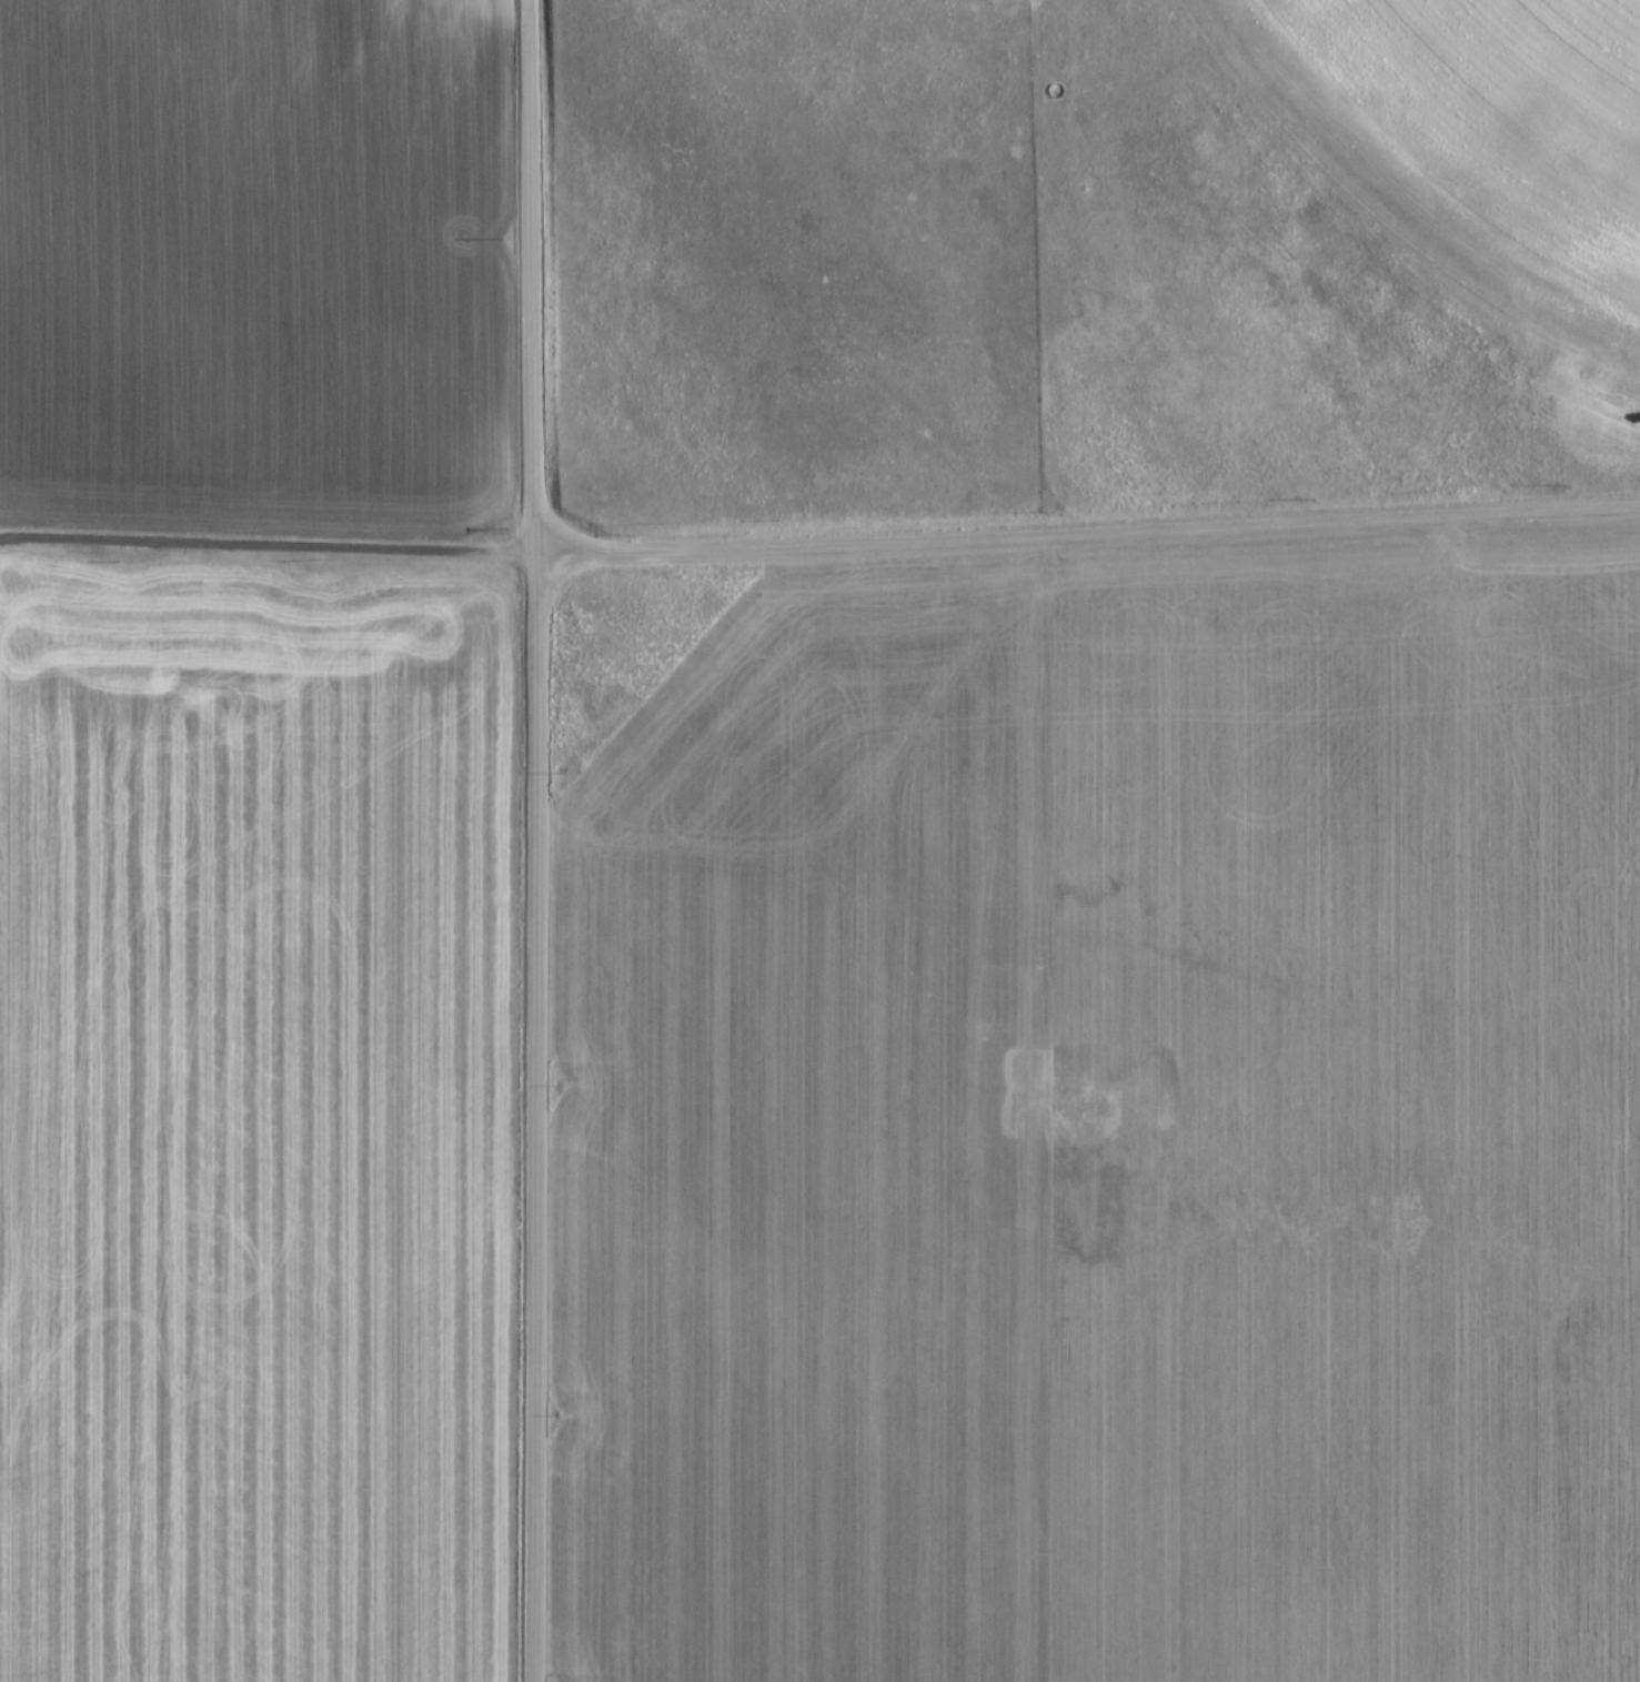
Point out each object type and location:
road: (819, 548)
road: (534, 840)

